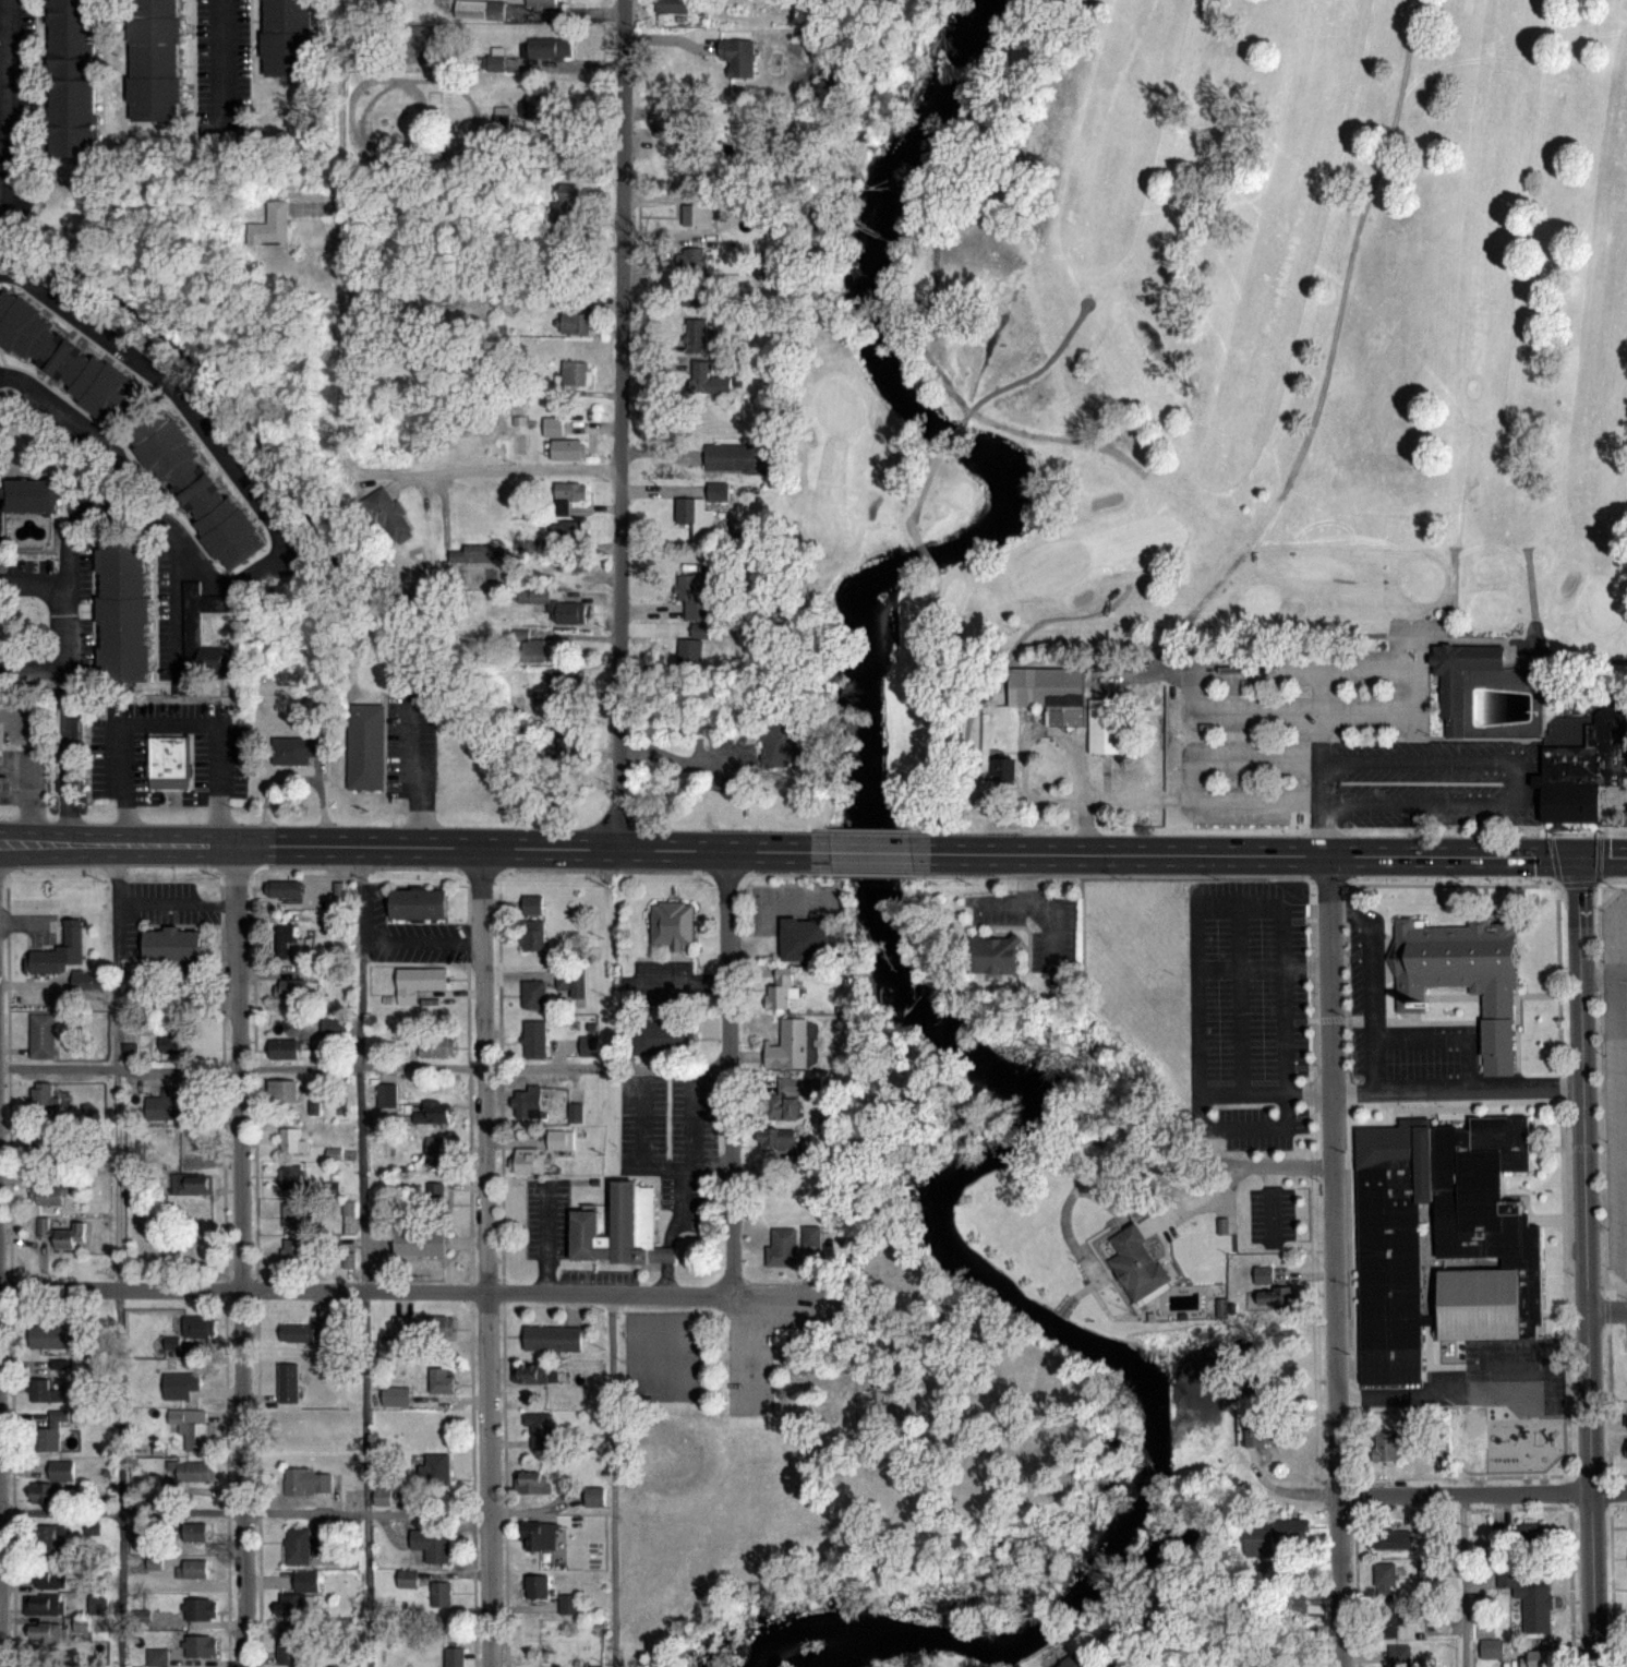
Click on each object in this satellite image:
building: (541, 3)
building: (672, 7)
building: (480, 10)
road: (1076, 15)
building: (287, 37)
building: (420, 41)
building: (547, 47)
road: (222, 56)
building: (739, 58)
building: (153, 59)
road: (481, 67)
building: (71, 77)
road: (7, 101)
building: (539, 106)
building: (667, 130)
building: (564, 202)
building: (697, 216)
building: (272, 225)
building: (692, 260)
building: (691, 296)
building: (577, 324)
building: (696, 335)
building: (65, 359)
building: (575, 376)
building: (704, 380)
road: (344, 406)
park: (1233, 419)
building: (553, 425)
road: (618, 425)
building: (564, 449)
building: (730, 457)
road: (115, 463)
road: (237, 478)
building: (195, 489)
building: (29, 493)
building: (567, 495)
building: (701, 513)
building: (388, 517)
building: (567, 531)
building: (571, 563)
building: (696, 595)
building: (558, 605)
road: (174, 607)
building: (121, 609)
building: (189, 626)
road: (923, 628)
road: (1443, 636)
road: (1539, 644)
building: (533, 651)
building: (690, 653)
road: (1624, 660)
road: (1286, 664)
road: (32, 667)
building: (1459, 675)
building: (566, 682)
road: (64, 684)
building: (1049, 691)
road: (169, 721)
building: (1105, 724)
road: (33, 733)
building: (779, 742)
building: (0, 745)
building: (364, 745)
building: (292, 751)
road: (1379, 758)
building: (167, 760)
road: (679, 760)
road: (1318, 760)
parking lot: (1396, 765)
building: (1584, 768)
road: (407, 775)
building: (4, 784)
road: (29, 797)
road: (405, 848)
road: (870, 852)
road: (1129, 854)
road: (1478, 856)
traffic signals: (1578, 856)
road: (1025, 877)
building: (284, 889)
road: (1047, 901)
building: (417, 902)
building: (532, 904)
road: (761, 911)
building: (671, 923)
road: (1612, 933)
building: (533, 935)
building: (804, 939)
building: (281, 940)
building: (170, 944)
building: (60, 952)
building: (992, 956)
road: (1262, 966)
road: (1619, 967)
building: (1462, 973)
building: (83, 980)
road: (682, 980)
road: (1601, 980)
building: (420, 982)
building: (571, 982)
road: (1371, 983)
building: (783, 987)
road: (1616, 988)
building: (290, 990)
building: (533, 994)
road: (1238, 998)
road: (610, 1017)
building: (335, 1026)
building: (41, 1034)
road: (1444, 1036)
building: (665, 1038)
building: (534, 1039)
building: (172, 1040)
building: (790, 1042)
building: (436, 1045)
building: (589, 1045)
building: (282, 1048)
building: (129, 1051)
road: (303, 1065)
road: (1389, 1089)
building: (282, 1091)
building: (386, 1094)
building: (791, 1095)
building: (44, 1099)
building: (168, 1105)
building: (526, 1105)
building: (433, 1112)
building: (575, 1112)
road: (727, 1117)
road: (1283, 1124)
road: (641, 1137)
building: (776, 1138)
building: (558, 1139)
building: (289, 1140)
road: (691, 1143)
building: (41, 1144)
road: (1581, 1146)
building: (434, 1150)
building: (528, 1161)
road: (1255, 1161)
road: (707, 1165)
building: (291, 1177)
building: (193, 1183)
building: (435, 1194)
building: (46, 1195)
road: (1269, 1201)
building: (293, 1215)
parking lot: (545, 1216)
building: (619, 1228)
road: (668, 1230)
building: (61, 1234)
building: (810, 1235)
road: (544, 1237)
building: (1439, 1238)
building: (421, 1243)
building: (783, 1246)
building: (293, 1249)
road: (665, 1254)
road: (117, 1256)
road: (240, 1256)
road: (362, 1257)
road: (483, 1258)
road: (1336, 1261)
road: (1586, 1261)
building: (1136, 1263)
parking lot: (598, 1274)
building: (1263, 1274)
road: (1563, 1274)
road: (1604, 1274)
road: (664, 1276)
road: (421, 1290)
road: (1606, 1310)
building: (425, 1326)
building: (193, 1328)
building: (298, 1333)
park: (661, 1335)
building: (58, 1336)
building: (553, 1338)
building: (795, 1344)
building: (191, 1348)
parking lot: (747, 1365)
building: (533, 1372)
park: (661, 1379)
building: (443, 1381)
building: (288, 1383)
building: (184, 1386)
building: (45, 1392)
road: (1426, 1392)
building: (396, 1395)
building: (540, 1427)
building: (191, 1428)
building: (49, 1432)
building: (1261, 1434)
building: (301, 1438)
building: (1385, 1446)
building: (1441, 1447)
park: (827, 1451)
building: (437, 1468)
building: (61, 1470)
building: (193, 1472)
road: (610, 1477)
building: (308, 1482)
building: (532, 1482)
road: (1275, 1485)
road: (1608, 1491)
building: (46, 1492)
road: (1465, 1494)
building: (382, 1495)
building: (595, 1496)
park: (714, 1496)
road: (246, 1510)
building: (193, 1532)
building: (1532, 1534)
building: (1270, 1535)
building: (48, 1536)
building: (539, 1536)
road: (1465, 1536)
building: (1393, 1539)
building: (432, 1544)
building: (301, 1546)
building: (191, 1569)
building: (1385, 1574)
building: (48, 1575)
building: (407, 1578)
building: (538, 1587)
building: (298, 1594)
building: (441, 1595)
building: (1533, 1599)
building: (43, 1604)
building: (97, 1604)
building: (568, 1604)
building: (200, 1609)
building: (1388, 1622)
building: (46, 1633)
building: (289, 1642)
building: (200, 1646)
building: (1492, 1648)
building: (1399, 1655)
building: (157, 1657)
building: (454, 1657)
building: (1535, 1658)
road: (1116, 1660)
building: (1073, 1662)

